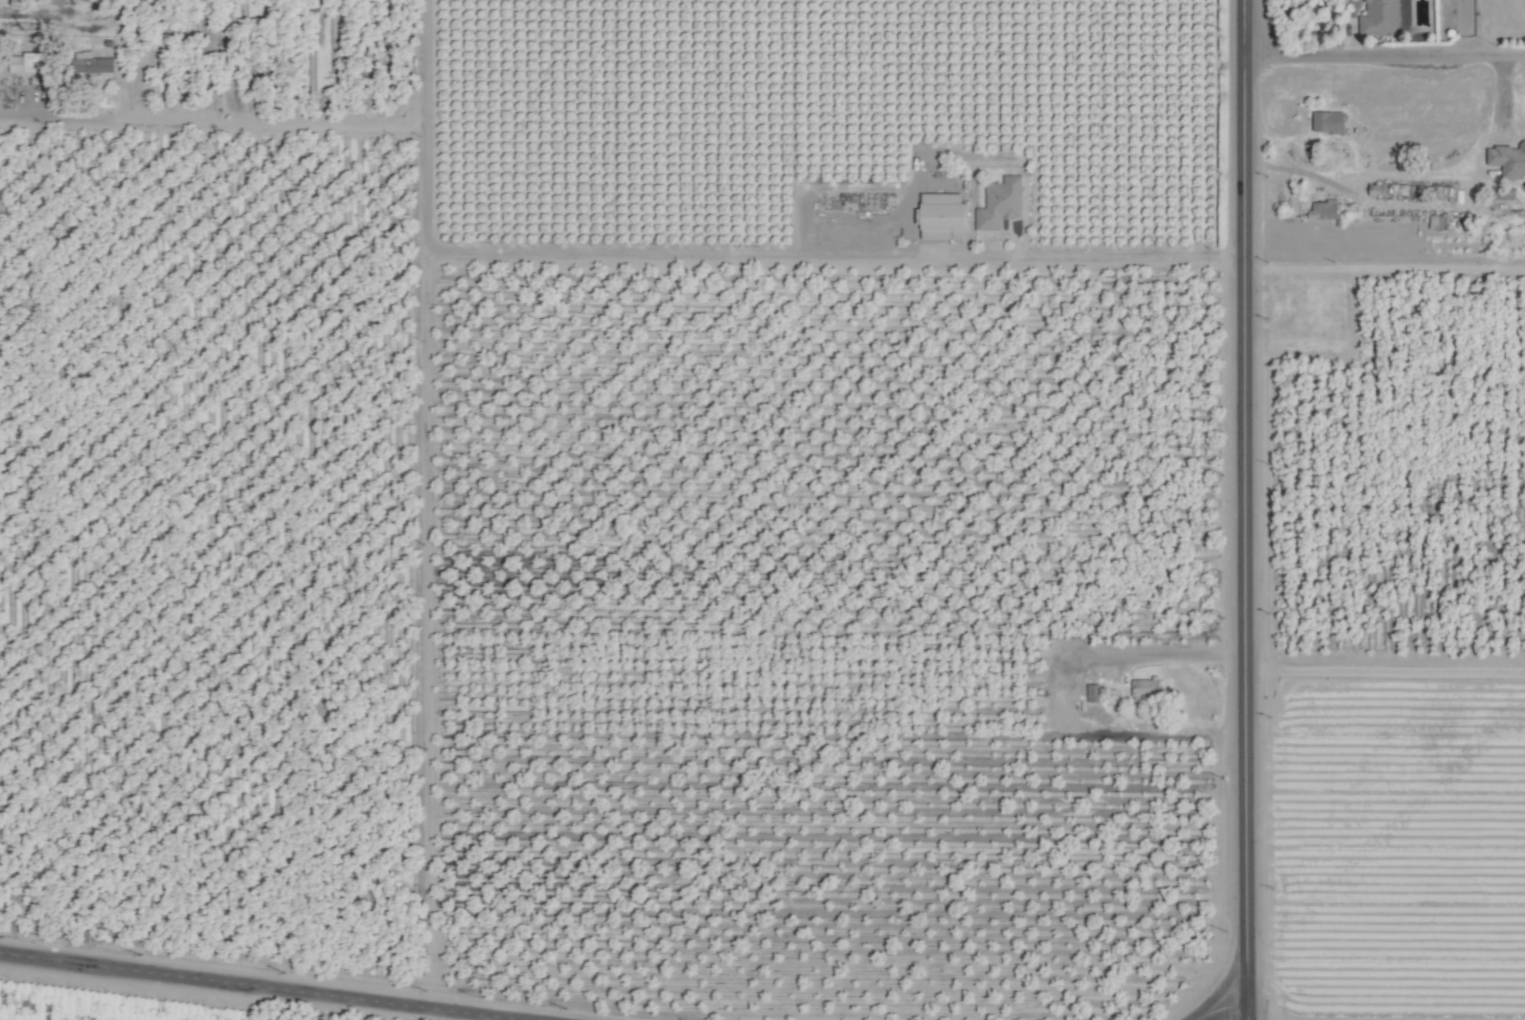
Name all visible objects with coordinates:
building: (1380, 19)
road: (1465, 27)
road: (1243, 28)
road: (1384, 56)
building: (28, 63)
building: (102, 64)
building: (1329, 122)
building: (1508, 160)
road: (1402, 170)
building: (1000, 203)
building: (1327, 210)
building: (944, 216)
road: (1116, 256)
road: (1383, 268)
crop: (762, 510)
road: (1243, 538)
road: (1384, 668)
building: (1146, 688)
road: (263, 986)
road: (1217, 1005)

